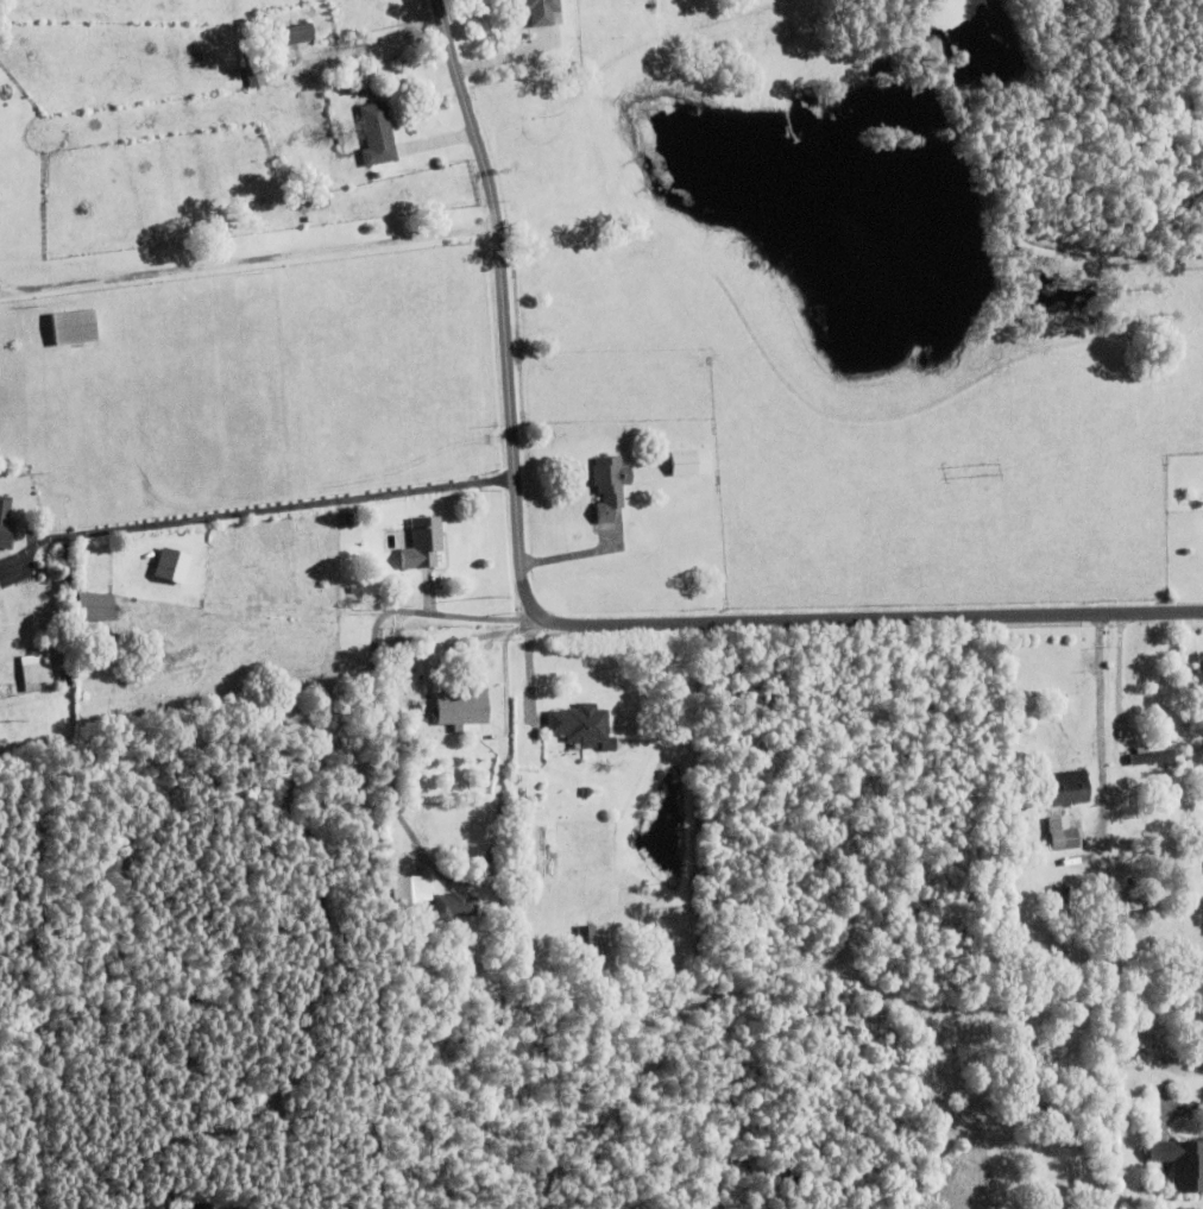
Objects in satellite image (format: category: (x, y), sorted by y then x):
building: (542, 13)
building: (283, 38)
building: (252, 70)
building: (347, 90)
building: (376, 136)
building: (320, 202)
road: (248, 263)
building: (78, 327)
building: (689, 465)
road: (495, 477)
building: (610, 487)
road: (235, 511)
building: (5, 525)
building: (423, 540)
building: (166, 565)
building: (94, 611)
road: (467, 616)
road: (556, 622)
road: (504, 660)
building: (1201, 667)
road: (1121, 674)
building: (36, 676)
building: (462, 705)
building: (1196, 711)
road: (1101, 718)
building: (579, 722)
building: (609, 745)
building: (1146, 754)
building: (1069, 786)
building: (586, 789)
building: (1202, 827)
building: (1062, 831)
building: (410, 890)
road: (316, 918)
building: (474, 932)
building: (592, 936)
building: (1177, 1163)
building: (156, 1203)
building: (199, 1205)

